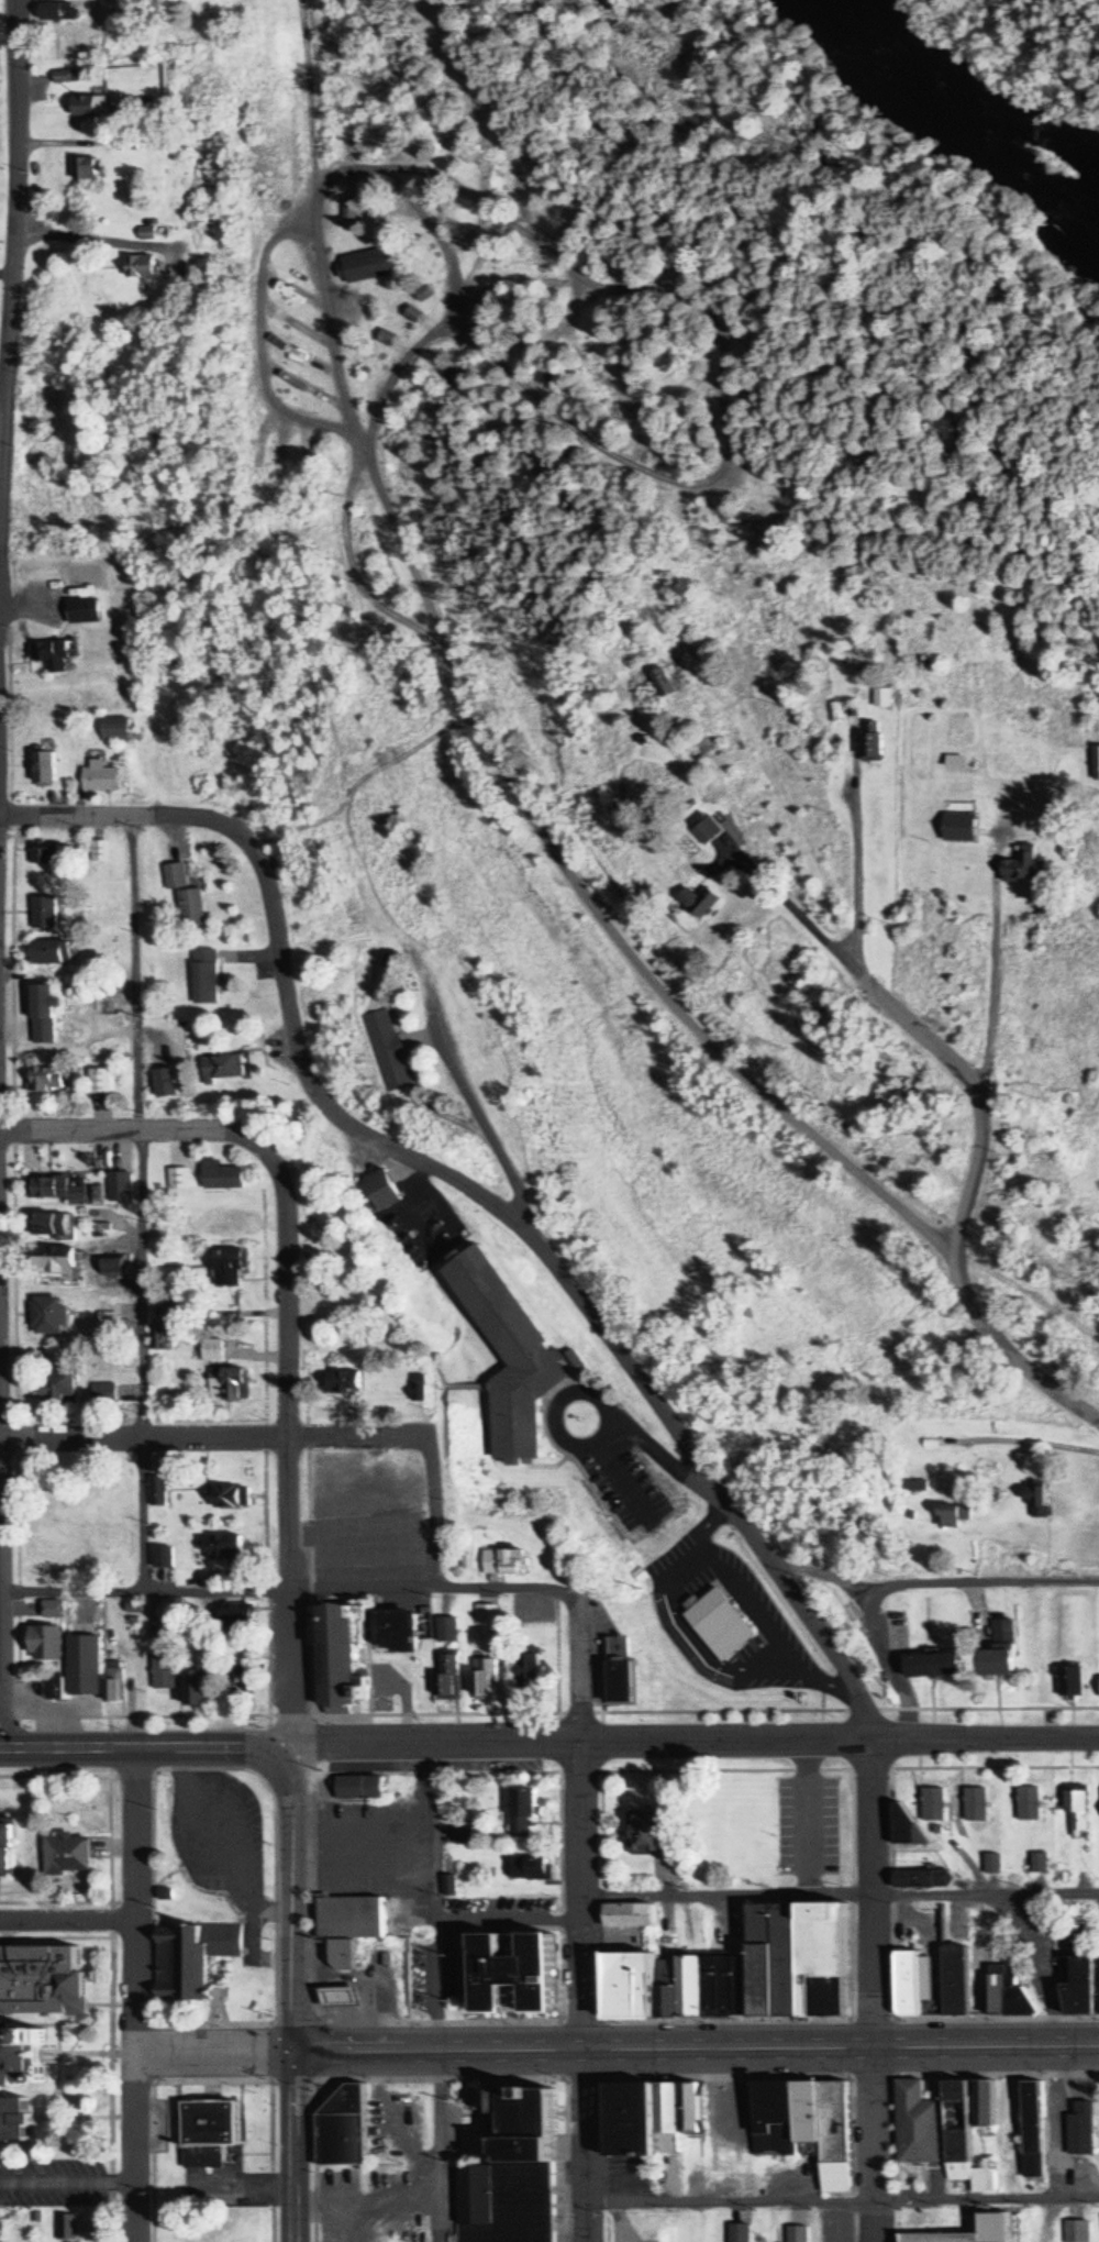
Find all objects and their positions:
building: (58, 12)
river: (981, 88)
building: (92, 107)
building: (88, 170)
building: (369, 267)
building: (146, 268)
road: (9, 289)
road: (262, 339)
road: (729, 409)
building: (747, 489)
building: (86, 596)
building: (53, 655)
building: (667, 684)
building: (881, 699)
building: (115, 730)
building: (870, 742)
building: (707, 750)
building: (1097, 763)
building: (43, 766)
building: (99, 776)
road: (519, 794)
road: (125, 815)
building: (704, 827)
building: (962, 828)
building: (98, 851)
building: (44, 852)
building: (1026, 868)
building: (174, 876)
building: (704, 902)
road: (786, 907)
building: (191, 909)
building: (45, 912)
building: (53, 952)
road: (991, 962)
building: (207, 978)
building: (111, 1002)
building: (47, 1014)
building: (388, 1051)
building: (226, 1069)
building: (48, 1079)
building: (103, 1082)
building: (168, 1083)
road: (130, 1129)
building: (224, 1177)
building: (180, 1179)
building: (122, 1186)
building: (57, 1188)
building: (384, 1191)
road: (965, 1201)
road: (141, 1203)
building: (54, 1224)
building: (229, 1224)
building: (56, 1259)
building: (115, 1267)
building: (231, 1267)
road: (557, 1269)
road: (1025, 1291)
building: (168, 1313)
building: (51, 1315)
building: (116, 1322)
building: (162, 1338)
building: (213, 1350)
building: (512, 1355)
building: (344, 1383)
building: (231, 1384)
building: (56, 1385)
building: (104, 1395)
road: (214, 1439)
road: (297, 1448)
building: (918, 1482)
building: (158, 1492)
building: (234, 1499)
building: (1037, 1502)
road: (434, 1512)
building: (954, 1517)
building: (223, 1548)
building: (508, 1562)
road: (980, 1583)
road: (288, 1590)
building: (528, 1609)
building: (51, 1610)
building: (488, 1615)
building: (232, 1617)
building: (720, 1624)
building: (449, 1631)
building: (398, 1633)
building: (45, 1644)
building: (1002, 1652)
building: (340, 1657)
building: (84, 1666)
building: (937, 1667)
road: (1, 1670)
building: (623, 1670)
building: (164, 1672)
building: (532, 1674)
building: (451, 1680)
building: (488, 1680)
building: (114, 1682)
building: (1072, 1682)
building: (53, 1688)
building: (198, 1689)
road: (686, 1741)
road: (140, 1749)
building: (360, 1789)
building: (935, 1805)
building: (977, 1805)
building: (1032, 1805)
building: (525, 1813)
building: (1080, 1814)
road: (584, 1820)
building: (651, 1834)
building: (467, 1836)
building: (4, 1851)
building: (67, 1854)
building: (1042, 1864)
building: (993, 1865)
building: (530, 1868)
building: (925, 1880)
building: (451, 1887)
road: (870, 1893)
road: (132, 1901)
road: (291, 1907)
building: (631, 1917)
building: (351, 1918)
road: (66, 1920)
building: (344, 1953)
building: (191, 1958)
building: (514, 1974)
building: (744, 1975)
building: (41, 1981)
building: (1084, 1985)
building: (963, 1986)
building: (343, 1996)
road: (697, 2050)
road: (215, 2053)
building: (22, 2055)
building: (987, 2105)
building: (654, 2118)
building: (14, 2120)
building: (801, 2124)
building: (919, 2125)
building: (343, 2129)
building: (1034, 2130)
building: (1085, 2130)
building: (211, 2134)
building: (966, 2142)
road: (873, 2145)
road: (582, 2146)
road: (135, 2147)
road: (296, 2147)
building: (512, 2175)
building: (996, 2224)
building: (67, 2229)
building: (1078, 2232)
building: (740, 2233)
building: (798, 2235)

